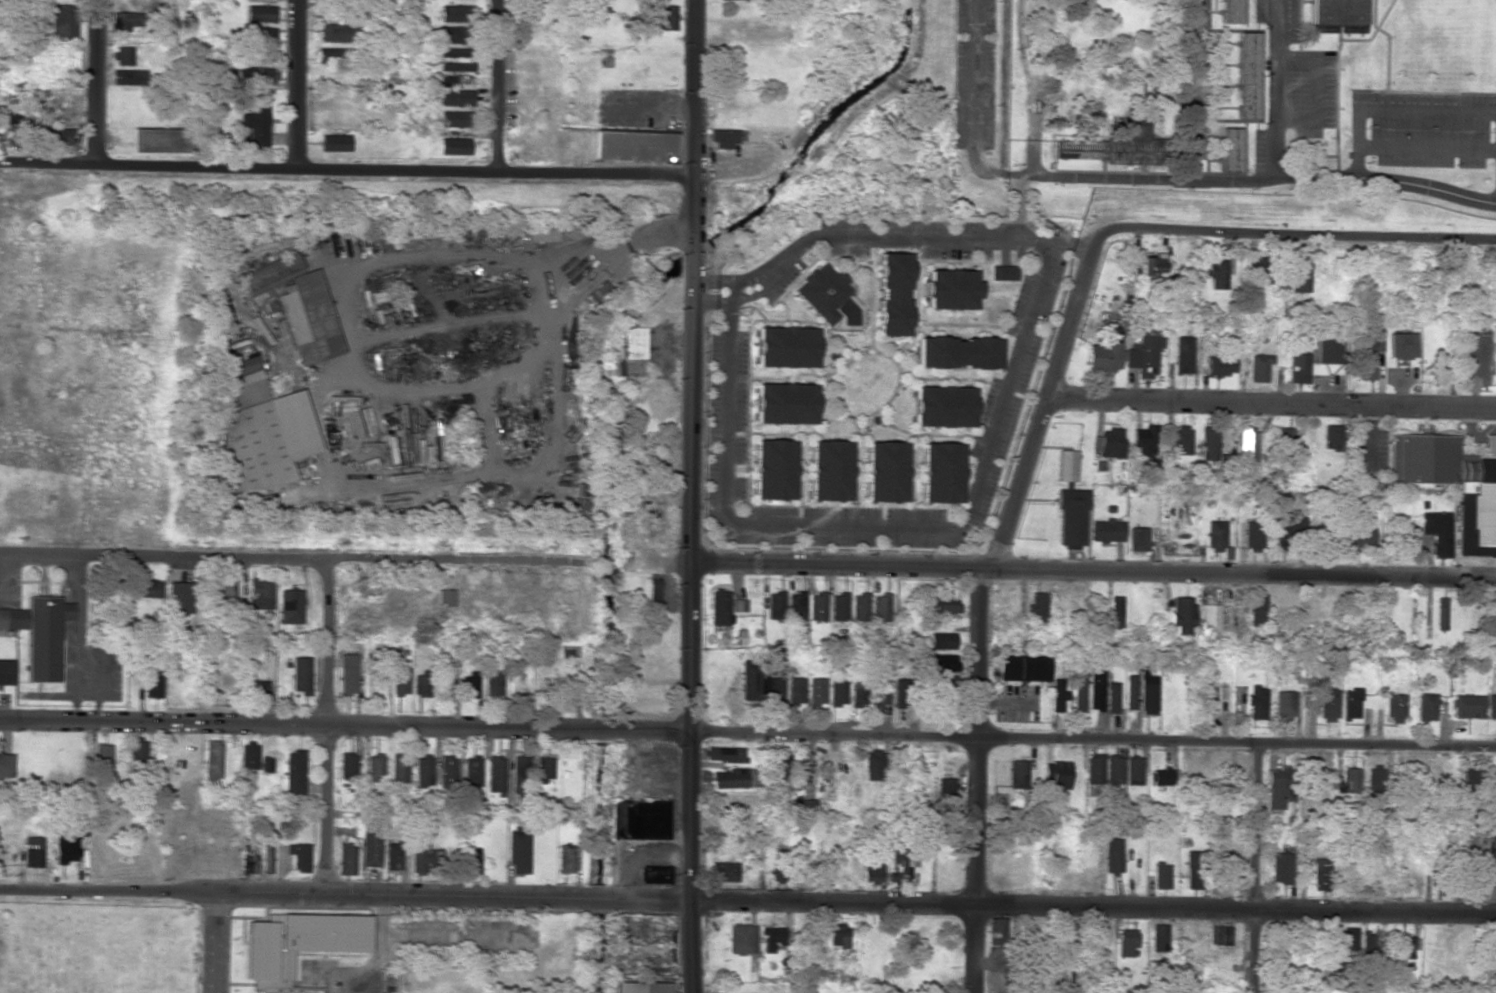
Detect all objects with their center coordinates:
building: (261, 0)
building: (744, 0)
building: (1232, 11)
building: (1338, 12)
building: (259, 13)
building: (453, 13)
building: (661, 16)
building: (64, 21)
building: (124, 21)
building: (337, 33)
building: (452, 34)
building: (264, 40)
building: (452, 52)
building: (123, 55)
building: (331, 56)
building: (455, 66)
parking lot: (974, 74)
building: (260, 75)
building: (1249, 76)
building: (128, 77)
parking lot: (1199, 79)
building: (448, 80)
road: (95, 82)
parking lot: (1293, 83)
road: (296, 84)
road: (498, 85)
road: (1277, 89)
road: (1182, 90)
road: (1317, 90)
building: (456, 97)
road: (1394, 111)
building: (456, 119)
building: (256, 121)
building: (14, 127)
river: (819, 127)
parking lot: (1423, 128)
building: (58, 136)
building: (722, 138)
building: (162, 140)
building: (334, 142)
building: (453, 146)
building: (634, 146)
building: (1120, 146)
road: (1426, 147)
building: (1231, 148)
road: (346, 169)
road: (1054, 175)
road: (1399, 181)
building: (541, 233)
road: (1300, 235)
building: (447, 239)
building: (385, 242)
river: (692, 256)
building: (1257, 270)
building: (1002, 272)
building: (271, 274)
building: (1217, 275)
building: (1298, 276)
road: (693, 281)
building: (948, 289)
building: (821, 291)
building: (594, 292)
building: (890, 294)
building: (308, 318)
building: (633, 342)
building: (1400, 345)
building: (783, 347)
building: (1494, 348)
building: (1326, 349)
building: (1093, 351)
building: (955, 352)
building: (1183, 354)
building: (1144, 356)
building: (1367, 356)
building: (1220, 363)
building: (1260, 367)
building: (1298, 368)
building: (782, 403)
road: (1272, 403)
building: (941, 406)
building: (260, 428)
building: (1332, 436)
building: (1181, 439)
road: (989, 443)
building: (1108, 443)
building: (1209, 443)
building: (1247, 444)
building: (1287, 444)
building: (1144, 445)
building: (1435, 461)
building: (1066, 465)
river: (607, 469)
building: (771, 469)
building: (827, 470)
building: (883, 471)
building: (939, 472)
building: (649, 492)
building: (1071, 518)
building: (651, 528)
building: (1288, 529)
building: (1107, 531)
building: (1436, 531)
building: (1216, 535)
building: (1253, 536)
building: (1360, 536)
building: (1138, 538)
road: (293, 556)
road: (1093, 572)
building: (147, 589)
building: (652, 591)
building: (226, 592)
building: (102, 594)
building: (259, 594)
building: (178, 597)
building: (445, 597)
road: (976, 598)
building: (943, 604)
building: (738, 605)
building: (775, 605)
building: (290, 606)
building: (796, 606)
building: (817, 606)
building: (838, 606)
building: (719, 607)
building: (859, 607)
building: (880, 607)
building: (1038, 607)
building: (1258, 610)
building: (1116, 612)
building: (1183, 614)
building: (1440, 614)
building: (1494, 616)
building: (1211, 617)
building: (38, 634)
building: (942, 640)
building: (941, 662)
building: (1022, 668)
building: (5, 672)
building: (347, 673)
building: (300, 674)
building: (399, 680)
building: (749, 680)
building: (152, 683)
building: (445, 683)
building: (468, 684)
building: (492, 684)
building: (420, 686)
building: (255, 687)
building: (565, 689)
building: (772, 689)
building: (1096, 689)
building: (794, 690)
building: (869, 690)
building: (650, 691)
building: (816, 691)
building: (837, 691)
building: (1130, 692)
building: (900, 693)
building: (1078, 694)
building: (1148, 694)
building: (1058, 695)
building: (1112, 697)
building: (1208, 700)
building: (1257, 702)
building: (1285, 703)
building: (1351, 703)
building: (1329, 704)
building: (1468, 706)
building: (1491, 706)
building: (1426, 707)
building: (647, 708)
building: (1396, 708)
road: (325, 725)
river: (600, 728)
road: (748, 731)
building: (137, 750)
building: (724, 754)
building: (248, 756)
building: (212, 759)
building: (102, 760)
building: (780, 760)
building: (5, 764)
building: (346, 764)
building: (267, 765)
building: (873, 765)
building: (373, 767)
building: (398, 768)
building: (542, 768)
building: (1094, 768)
building: (446, 769)
building: (1114, 770)
building: (295, 771)
building: (422, 771)
building: (470, 771)
building: (1134, 771)
building: (494, 773)
building: (517, 774)
building: (1018, 774)
building: (1056, 774)
building: (1162, 776)
road: (688, 778)
building: (733, 778)
building: (1376, 779)
building: (1473, 780)
building: (1345, 781)
building: (945, 787)
building: (1280, 787)
river: (598, 813)
building: (638, 819)
building: (370, 845)
building: (65, 850)
building: (33, 851)
building: (517, 852)
building: (422, 854)
building: (1113, 855)
building: (299, 856)
building: (392, 856)
building: (266, 859)
building: (346, 859)
building: (564, 859)
building: (1491, 860)
building: (899, 861)
building: (471, 863)
building: (249, 864)
building: (871, 864)
road: (1255, 866)
building: (1281, 868)
building: (1194, 869)
building: (722, 872)
building: (776, 872)
building: (653, 874)
building: (1320, 874)
building: (1161, 875)
river: (596, 899)
road: (747, 901)
building: (997, 931)
building: (1221, 935)
building: (770, 936)
building: (838, 936)
building: (1065, 937)
building: (1159, 938)
building: (1349, 938)
building: (742, 939)
building: (1126, 942)
road: (217, 944)
building: (296, 946)
building: (1369, 946)
building: (1406, 946)
river: (591, 953)
building: (1334, 957)
building: (640, 987)

